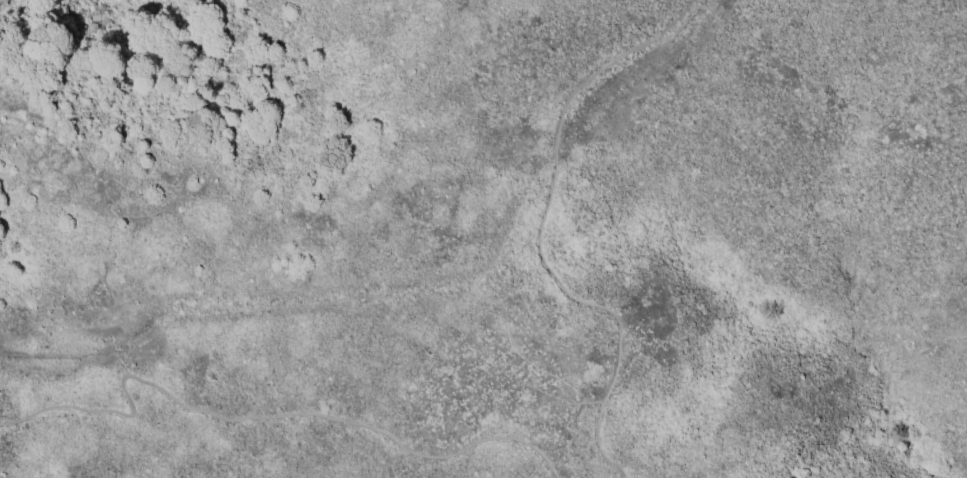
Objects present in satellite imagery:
road: (543, 233)
road: (260, 418)

